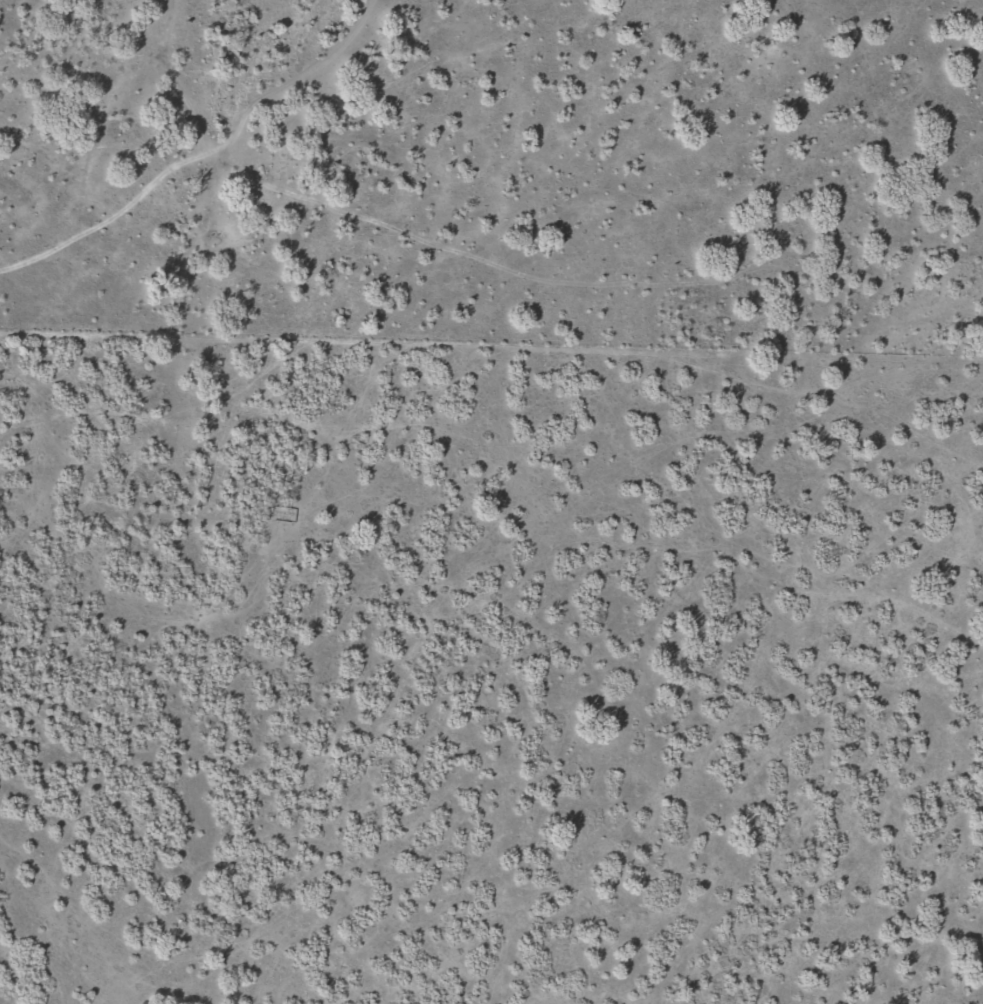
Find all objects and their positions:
road: (567, 433)

